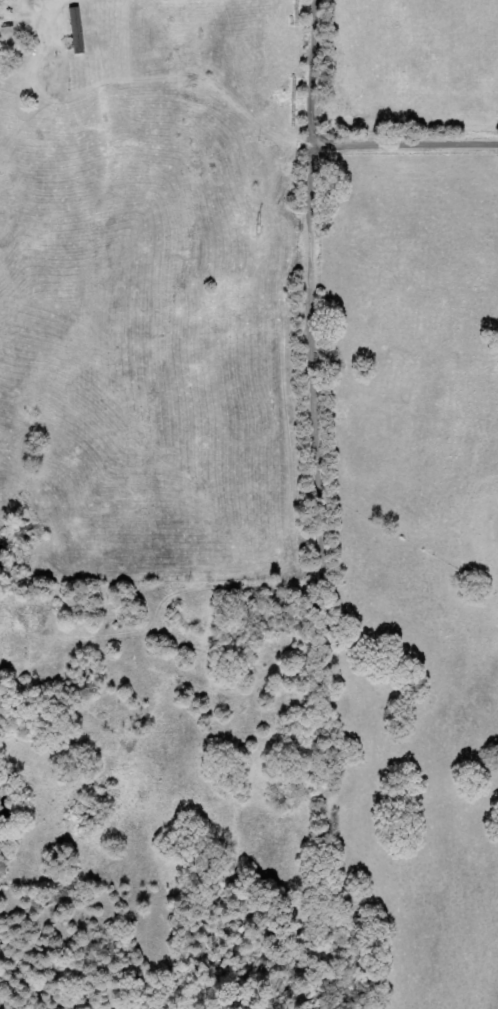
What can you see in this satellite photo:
building: (80, 30)
road: (310, 65)
road: (414, 126)
power tower: (260, 232)
road: (323, 570)

